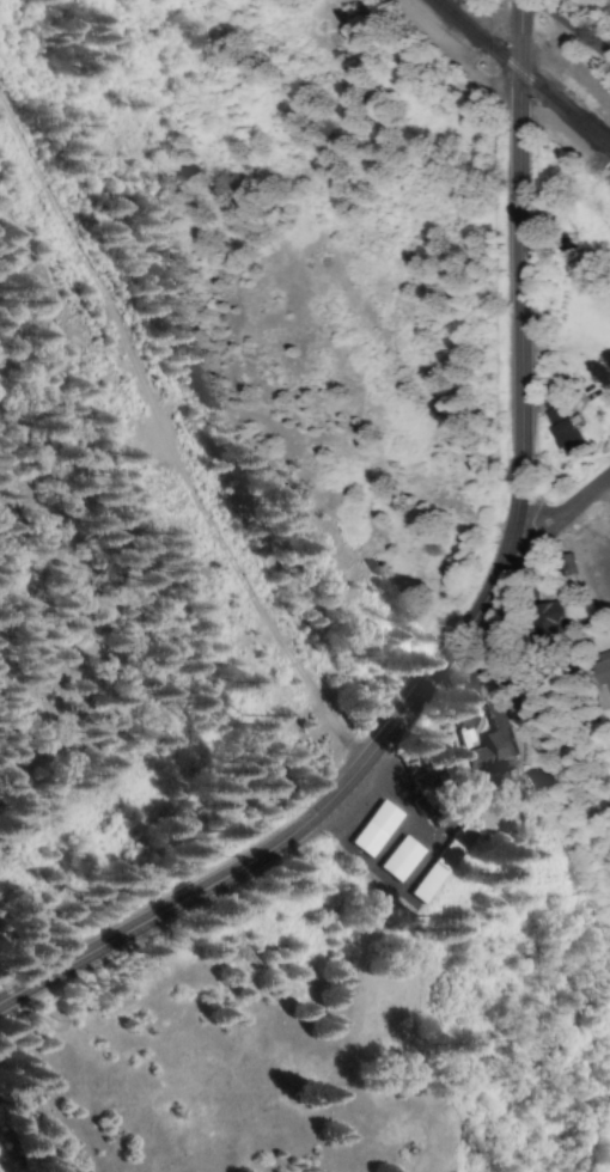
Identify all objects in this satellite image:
road: (572, 30)
railway: (521, 77)
road: (518, 227)
building: (560, 431)
road: (560, 512)
building: (545, 616)
building: (600, 670)
building: (493, 747)
road: (347, 781)
building: (373, 829)
building: (399, 859)
building: (443, 863)
road: (16, 994)

